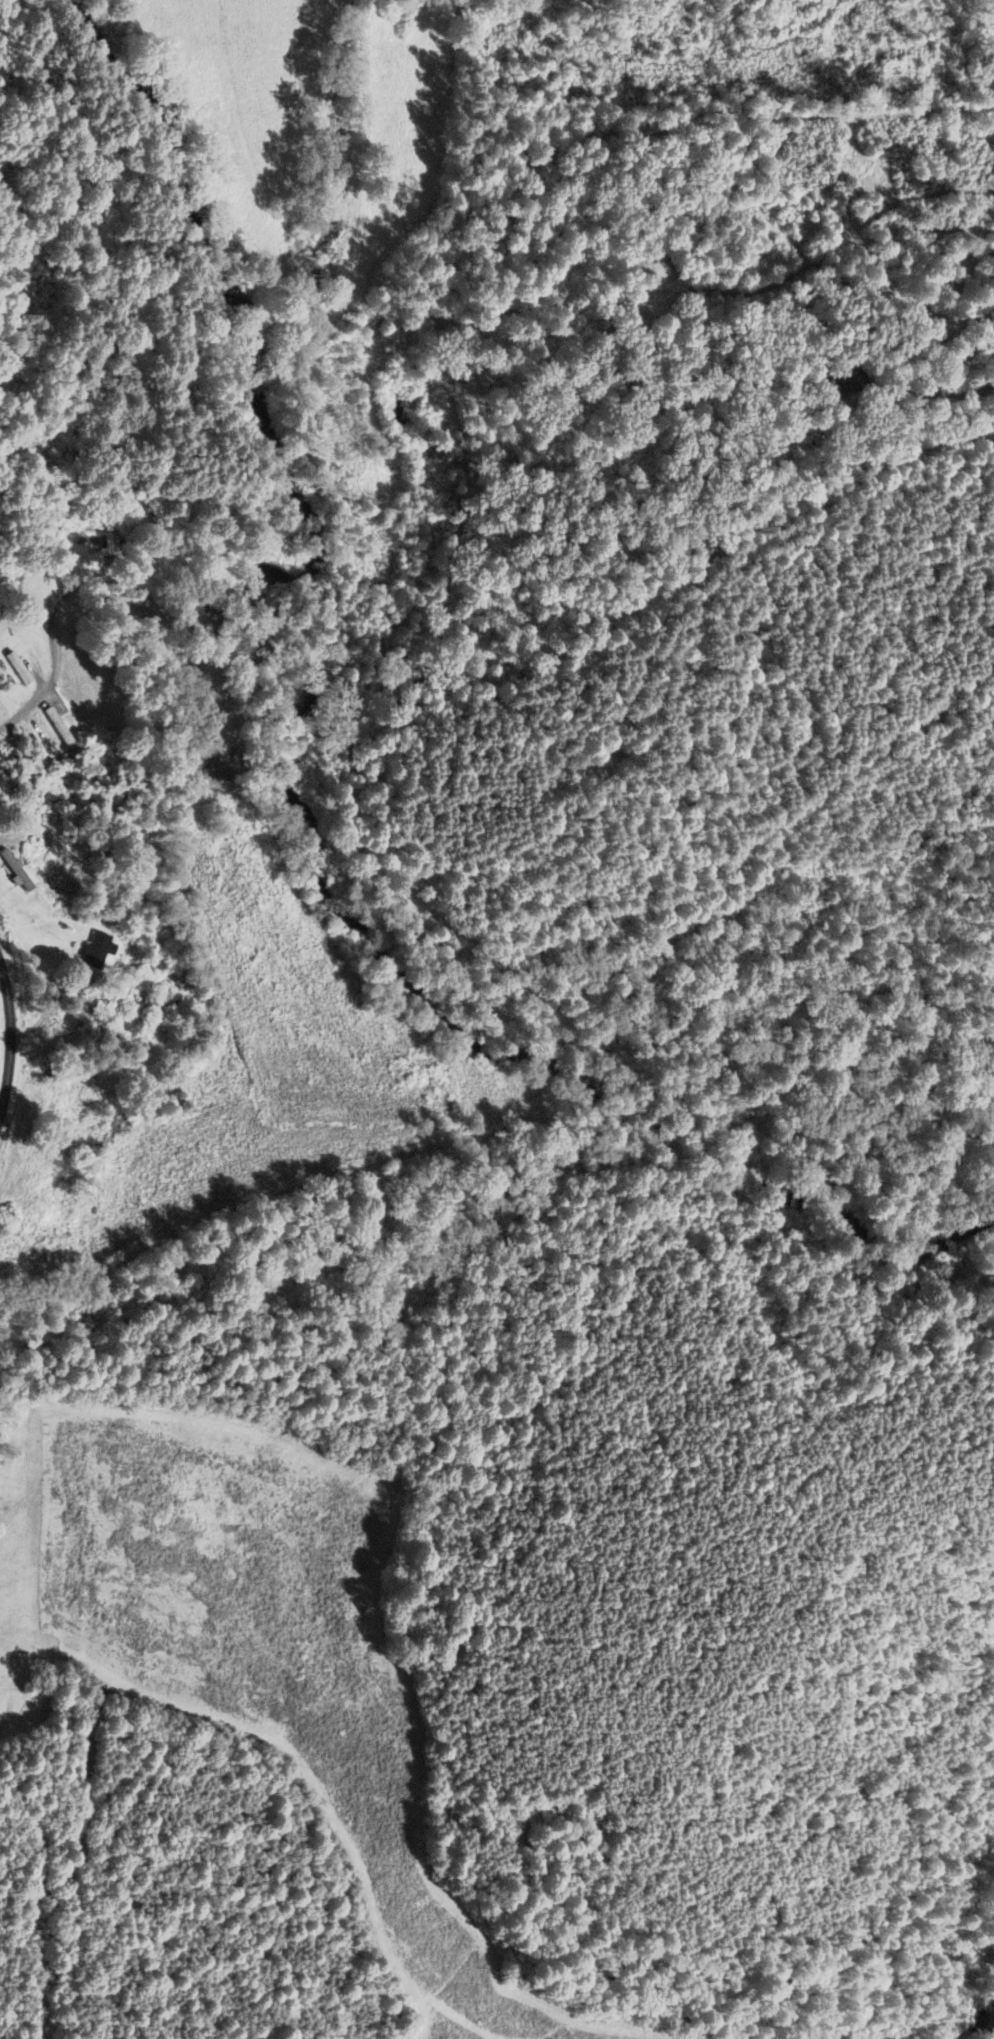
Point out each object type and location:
building: (841, 382)
road: (947, 393)
building: (74, 563)
building: (9, 668)
building: (243, 687)
building: (48, 724)
building: (220, 771)
building: (90, 951)
road: (43, 1010)
building: (93, 1011)
road: (7, 1041)

